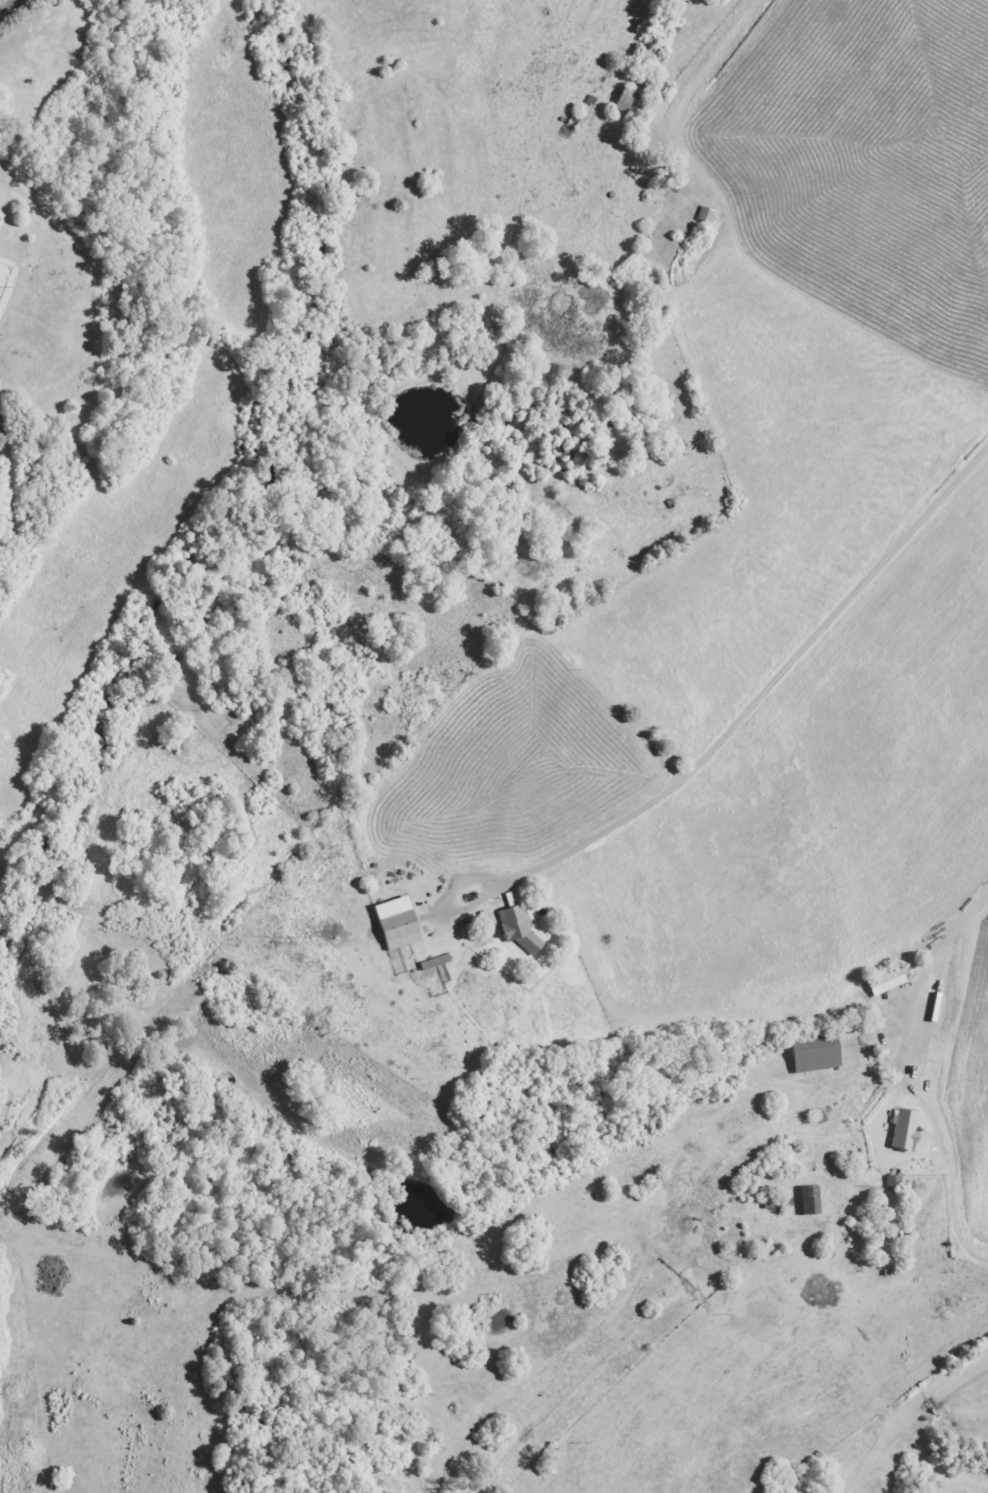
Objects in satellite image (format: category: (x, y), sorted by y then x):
road: (12, 9)
road: (703, 83)
building: (627, 102)
road: (785, 666)
building: (516, 921)
building: (394, 923)
road: (943, 947)
building: (884, 982)
road: (764, 1032)
building: (812, 1055)
building: (903, 1130)
building: (808, 1200)
road: (884, 1285)

